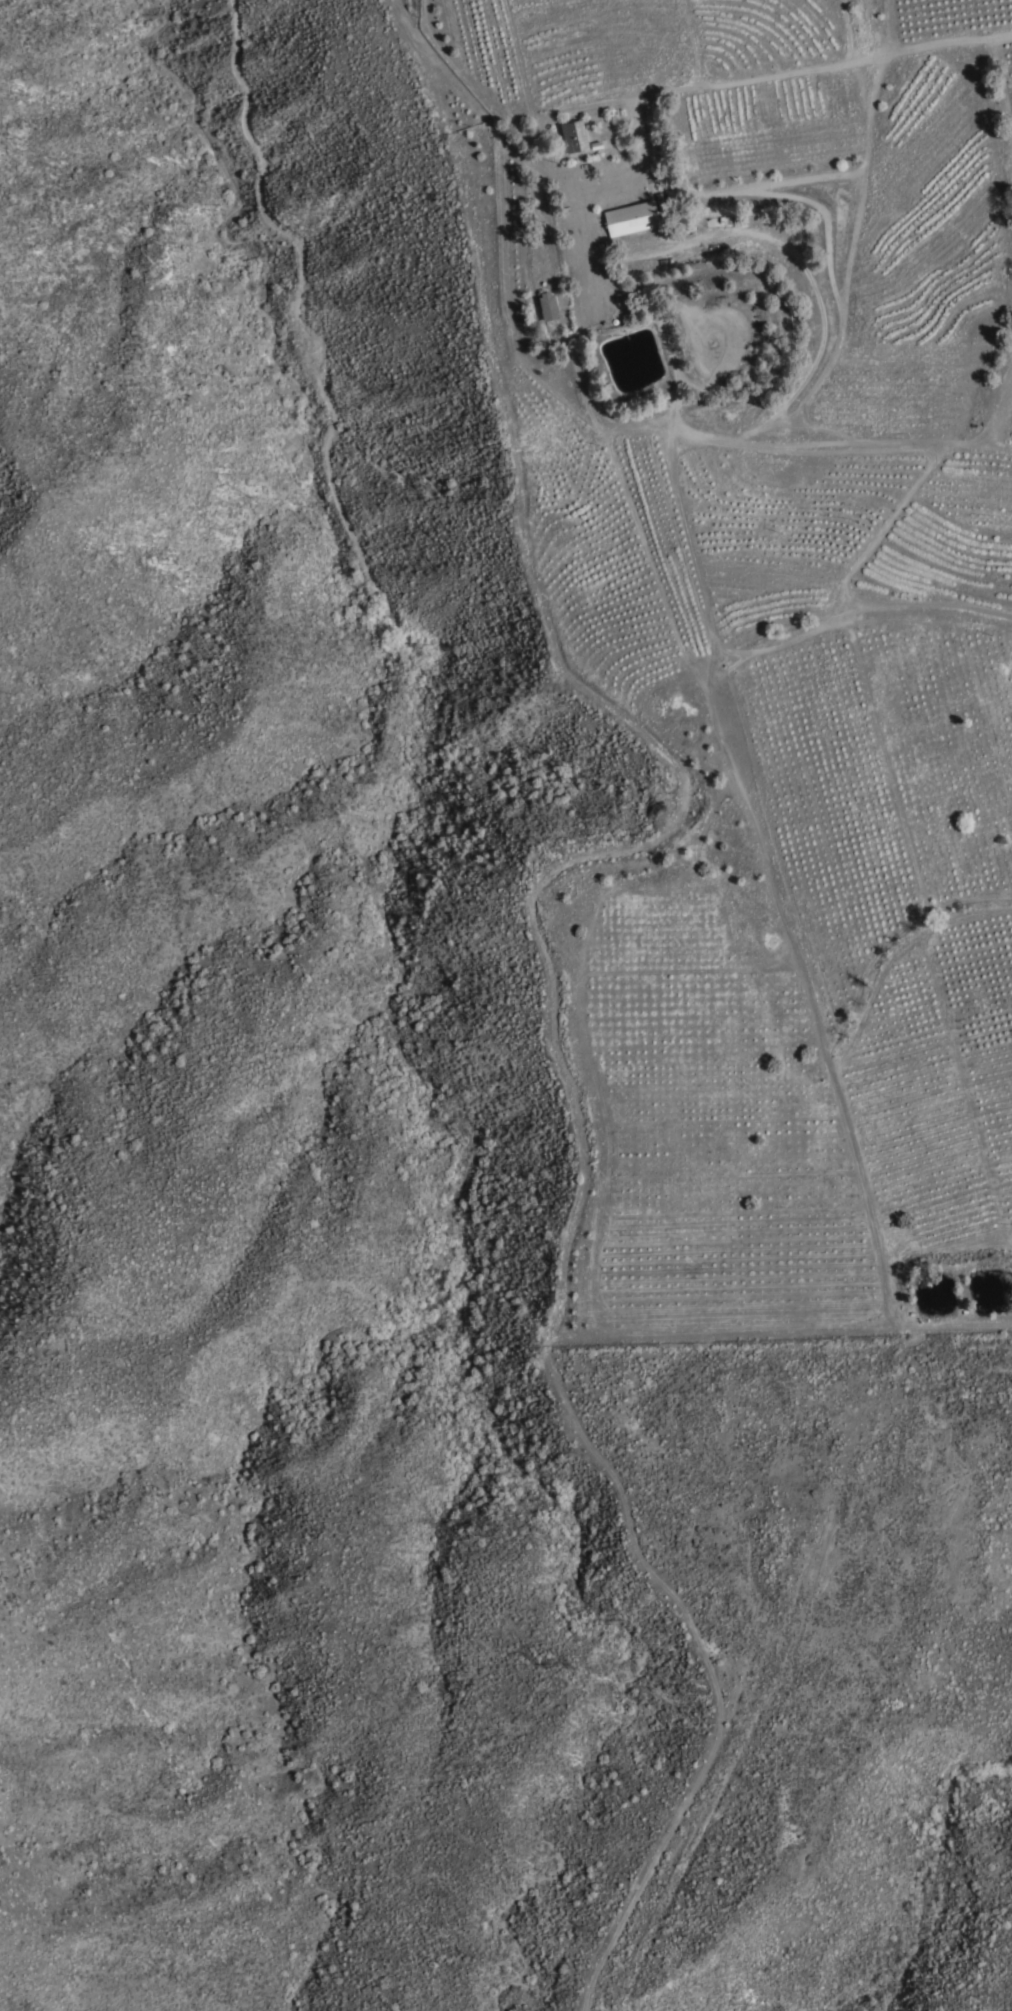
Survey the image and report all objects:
road: (508, 135)
building: (575, 137)
building: (632, 219)
building: (549, 307)
crop: (794, 657)
road: (624, 710)
road: (718, 1676)

